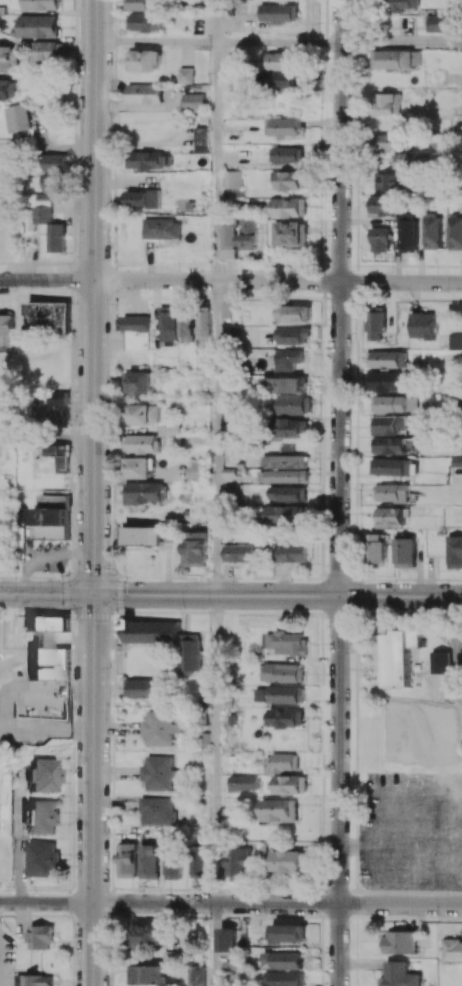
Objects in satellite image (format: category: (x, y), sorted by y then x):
building: (41, 4)
building: (148, 4)
building: (402, 5)
building: (279, 12)
road: (216, 21)
building: (146, 22)
building: (441, 23)
building: (37, 26)
road: (155, 42)
road: (279, 43)
road: (402, 43)
building: (49, 50)
building: (8, 56)
building: (397, 58)
building: (143, 60)
building: (283, 70)
building: (185, 75)
building: (6, 89)
building: (144, 93)
building: (193, 101)
building: (389, 103)
building: (17, 117)
building: (284, 126)
building: (201, 139)
building: (389, 141)
road: (47, 150)
building: (288, 154)
building: (147, 160)
building: (409, 160)
road: (216, 161)
building: (55, 171)
building: (232, 179)
building: (292, 179)
building: (396, 181)
building: (140, 198)
building: (385, 205)
building: (43, 206)
building: (290, 207)
building: (163, 228)
building: (433, 231)
building: (292, 232)
building: (409, 232)
building: (455, 232)
building: (249, 234)
building: (57, 237)
building: (380, 239)
building: (230, 241)
road: (47, 279)
road: (278, 281)
road: (94, 297)
road: (341, 297)
building: (226, 312)
building: (295, 313)
building: (50, 314)
building: (167, 323)
building: (203, 323)
building: (186, 325)
building: (376, 325)
building: (423, 325)
building: (6, 328)
building: (136, 332)
building: (253, 335)
building: (294, 335)
building: (455, 341)
building: (291, 358)
building: (387, 359)
building: (139, 381)
building: (385, 381)
building: (286, 384)
building: (60, 397)
building: (394, 403)
building: (294, 404)
building: (143, 413)
building: (388, 424)
building: (173, 426)
building: (295, 427)
road: (215, 437)
road: (47, 438)
building: (141, 443)
building: (389, 444)
building: (57, 448)
building: (288, 461)
building: (64, 463)
building: (391, 466)
building: (137, 467)
building: (196, 470)
building: (285, 476)
building: (144, 492)
building: (392, 492)
building: (290, 493)
building: (289, 515)
building: (390, 517)
building: (52, 523)
building: (141, 535)
building: (5, 541)
building: (196, 548)
building: (377, 548)
building: (454, 551)
building: (241, 552)
building: (405, 552)
building: (294, 553)
traffic signals: (94, 595)
road: (231, 595)
building: (46, 627)
building: (151, 631)
building: (288, 642)
building: (190, 652)
building: (400, 656)
building: (50, 663)
building: (283, 672)
building: (140, 688)
building: (287, 694)
building: (285, 717)
building: (159, 727)
road: (214, 749)
building: (282, 762)
building: (158, 773)
building: (43, 775)
building: (244, 782)
building: (292, 784)
road: (93, 790)
road: (340, 790)
building: (157, 810)
building: (279, 810)
building: (42, 817)
building: (42, 858)
building: (127, 860)
building: (199, 860)
building: (149, 861)
building: (172, 861)
building: (288, 862)
building: (240, 864)
road: (46, 902)
road: (277, 904)
building: (289, 933)
building: (42, 936)
building: (148, 936)
building: (228, 939)
building: (400, 942)
road: (213, 945)
building: (452, 949)
building: (284, 959)
building: (153, 973)
building: (198, 975)
building: (400, 975)
building: (286, 978)
building: (37, 979)

